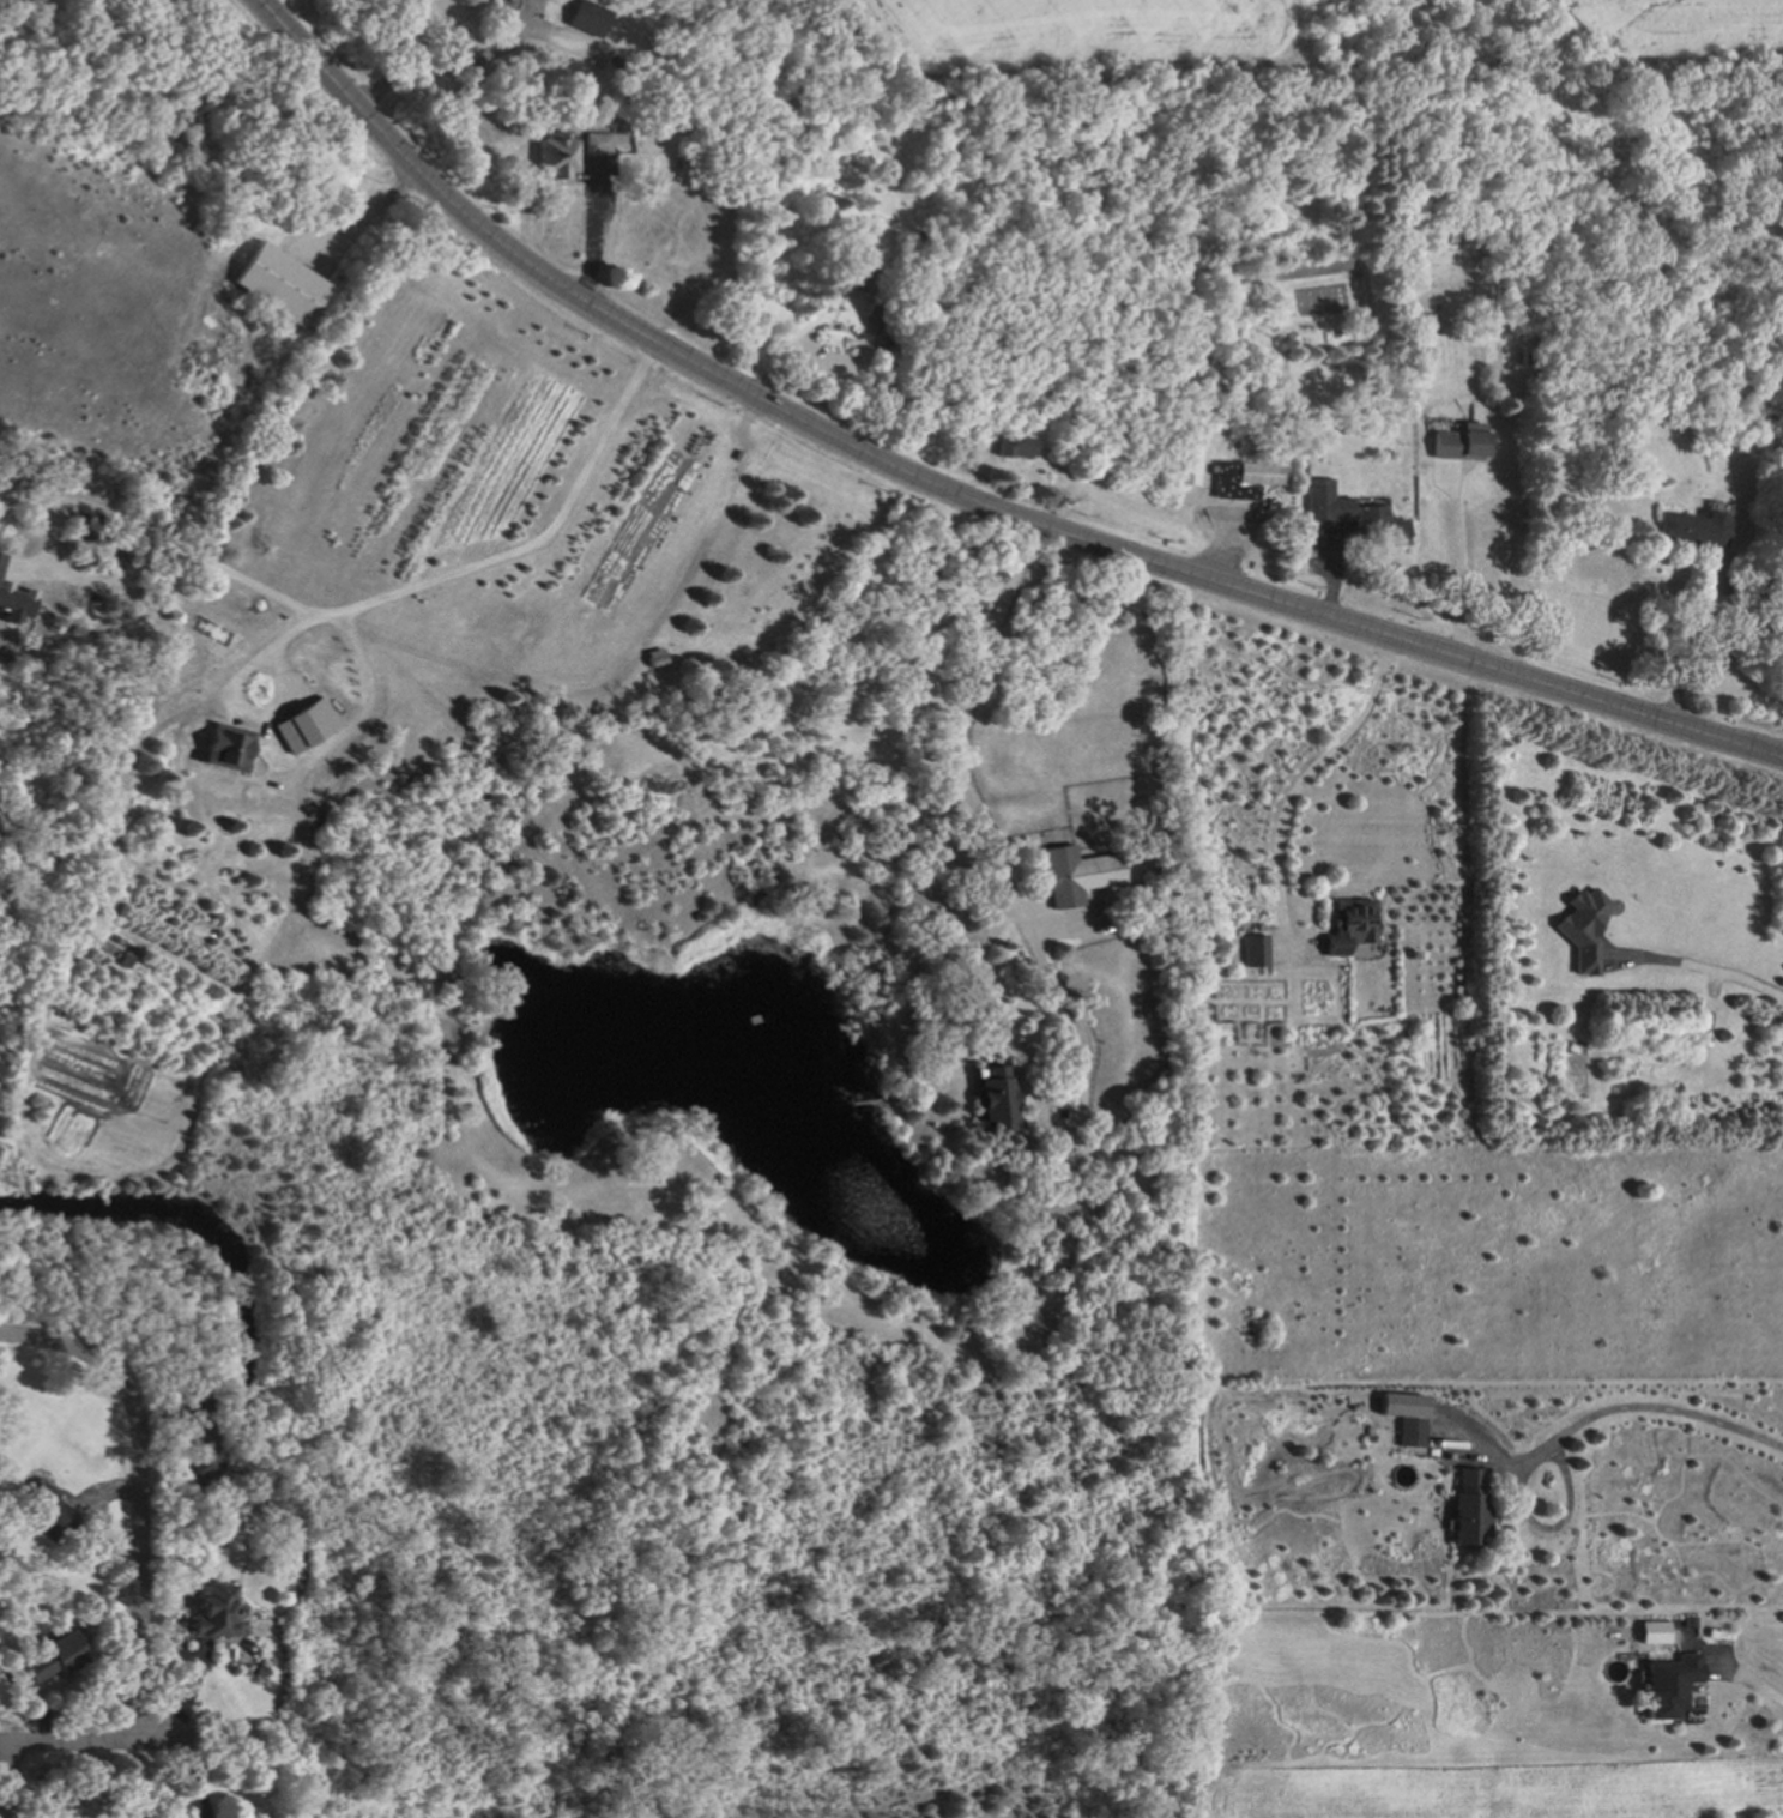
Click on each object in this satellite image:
building: (16, 5)
building: (584, 23)
road: (447, 66)
building: (591, 137)
building: (550, 150)
building: (797, 156)
road: (369, 219)
building: (1450, 235)
building: (847, 271)
building: (277, 282)
building: (874, 303)
road: (838, 326)
building: (1007, 437)
building: (1457, 442)
building: (1185, 469)
building: (1241, 478)
road: (956, 494)
road: (93, 509)
building: (1352, 513)
building: (1682, 524)
road: (50, 533)
building: (1, 561)
road: (1459, 573)
building: (986, 575)
road: (401, 593)
building: (14, 604)
building: (1782, 621)
building: (1764, 623)
road: (615, 680)
building: (307, 726)
building: (228, 748)
road: (1305, 783)
building: (1074, 876)
road: (1008, 889)
building: (1347, 928)
building: (1583, 929)
building: (1251, 952)
road: (1699, 967)
road: (954, 985)
building: (1497, 1047)
building: (993, 1103)
road: (74, 1348)
road: (1596, 1409)
building: (1408, 1432)
building: (1365, 1437)
building: (198, 1446)
building: (200, 1478)
building: (44, 1505)
building: (1468, 1514)
road: (140, 1548)
building: (97, 1601)
building: (214, 1605)
building: (1685, 1620)
building: (1649, 1630)
building: (55, 1649)
building: (259, 1668)
road: (1742, 1677)
building: (1667, 1685)
road: (81, 1744)
road: (192, 1747)
road: (4, 1781)

